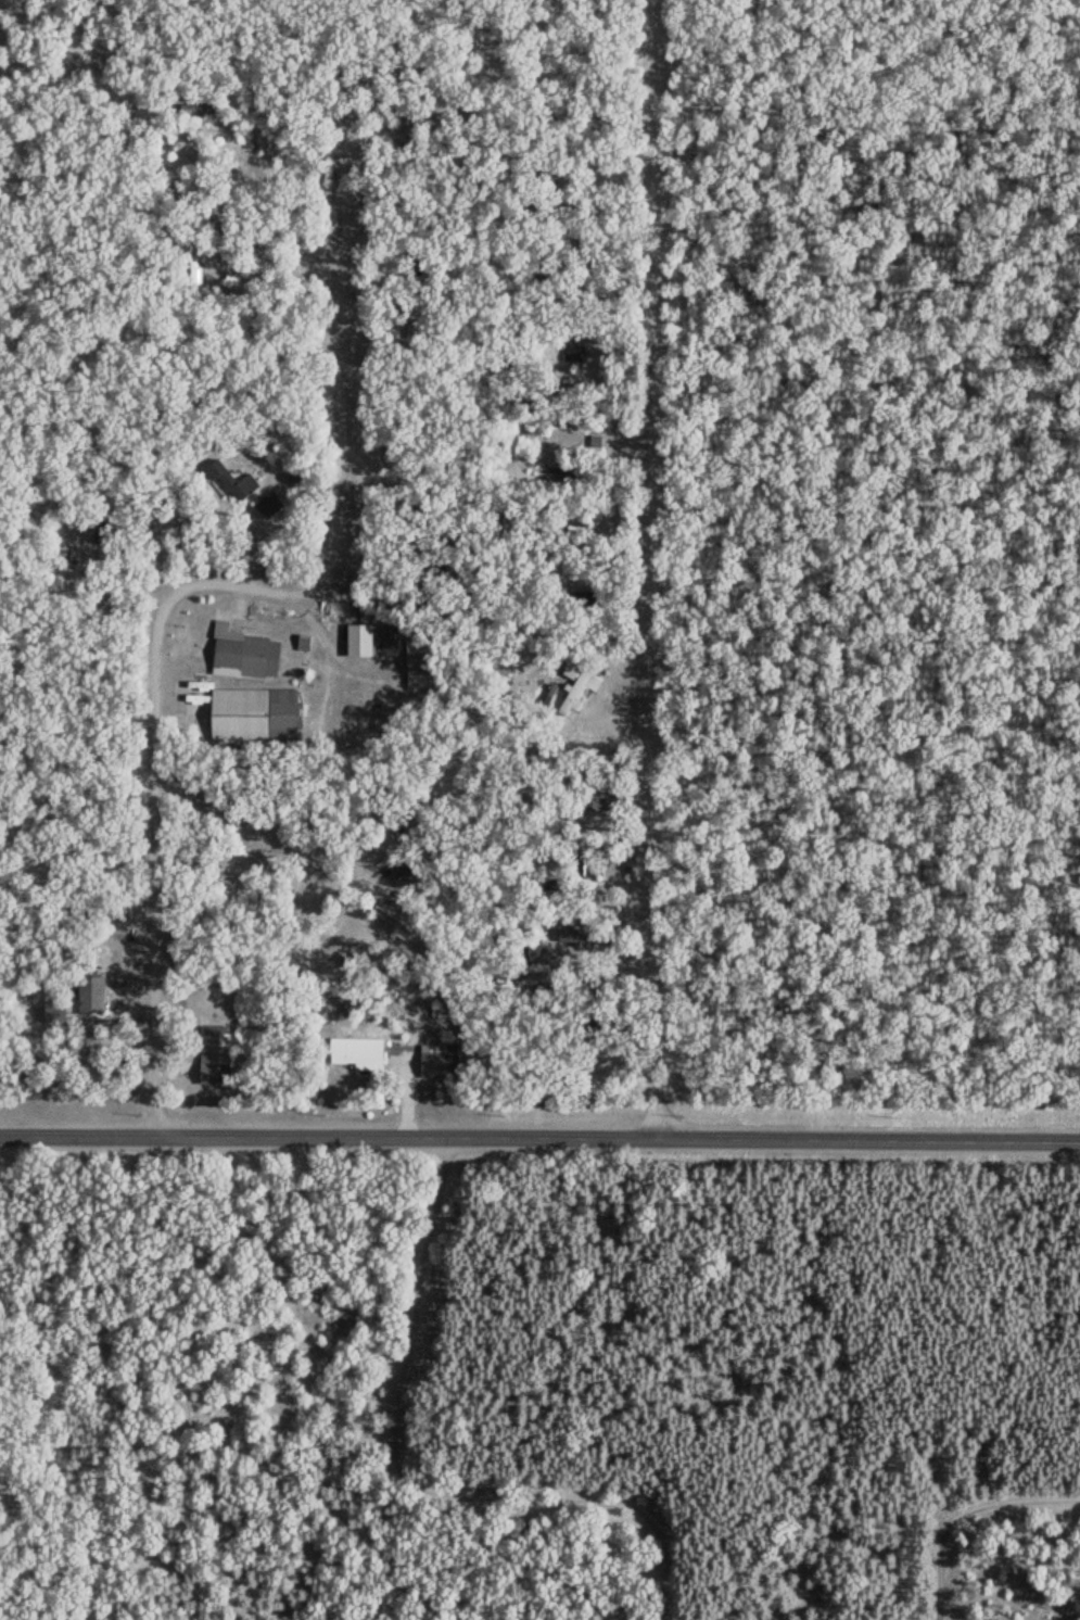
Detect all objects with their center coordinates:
building: (396, 107)
road: (499, 162)
building: (573, 350)
building: (611, 433)
building: (231, 480)
building: (99, 526)
road: (651, 568)
road: (219, 582)
building: (241, 651)
building: (574, 689)
building: (253, 713)
building: (590, 797)
building: (584, 863)
building: (405, 870)
building: (394, 915)
building: (573, 933)
building: (535, 951)
building: (89, 992)
building: (52, 1010)
building: (213, 1049)
building: (355, 1049)
building: (435, 1059)
road: (539, 1136)

